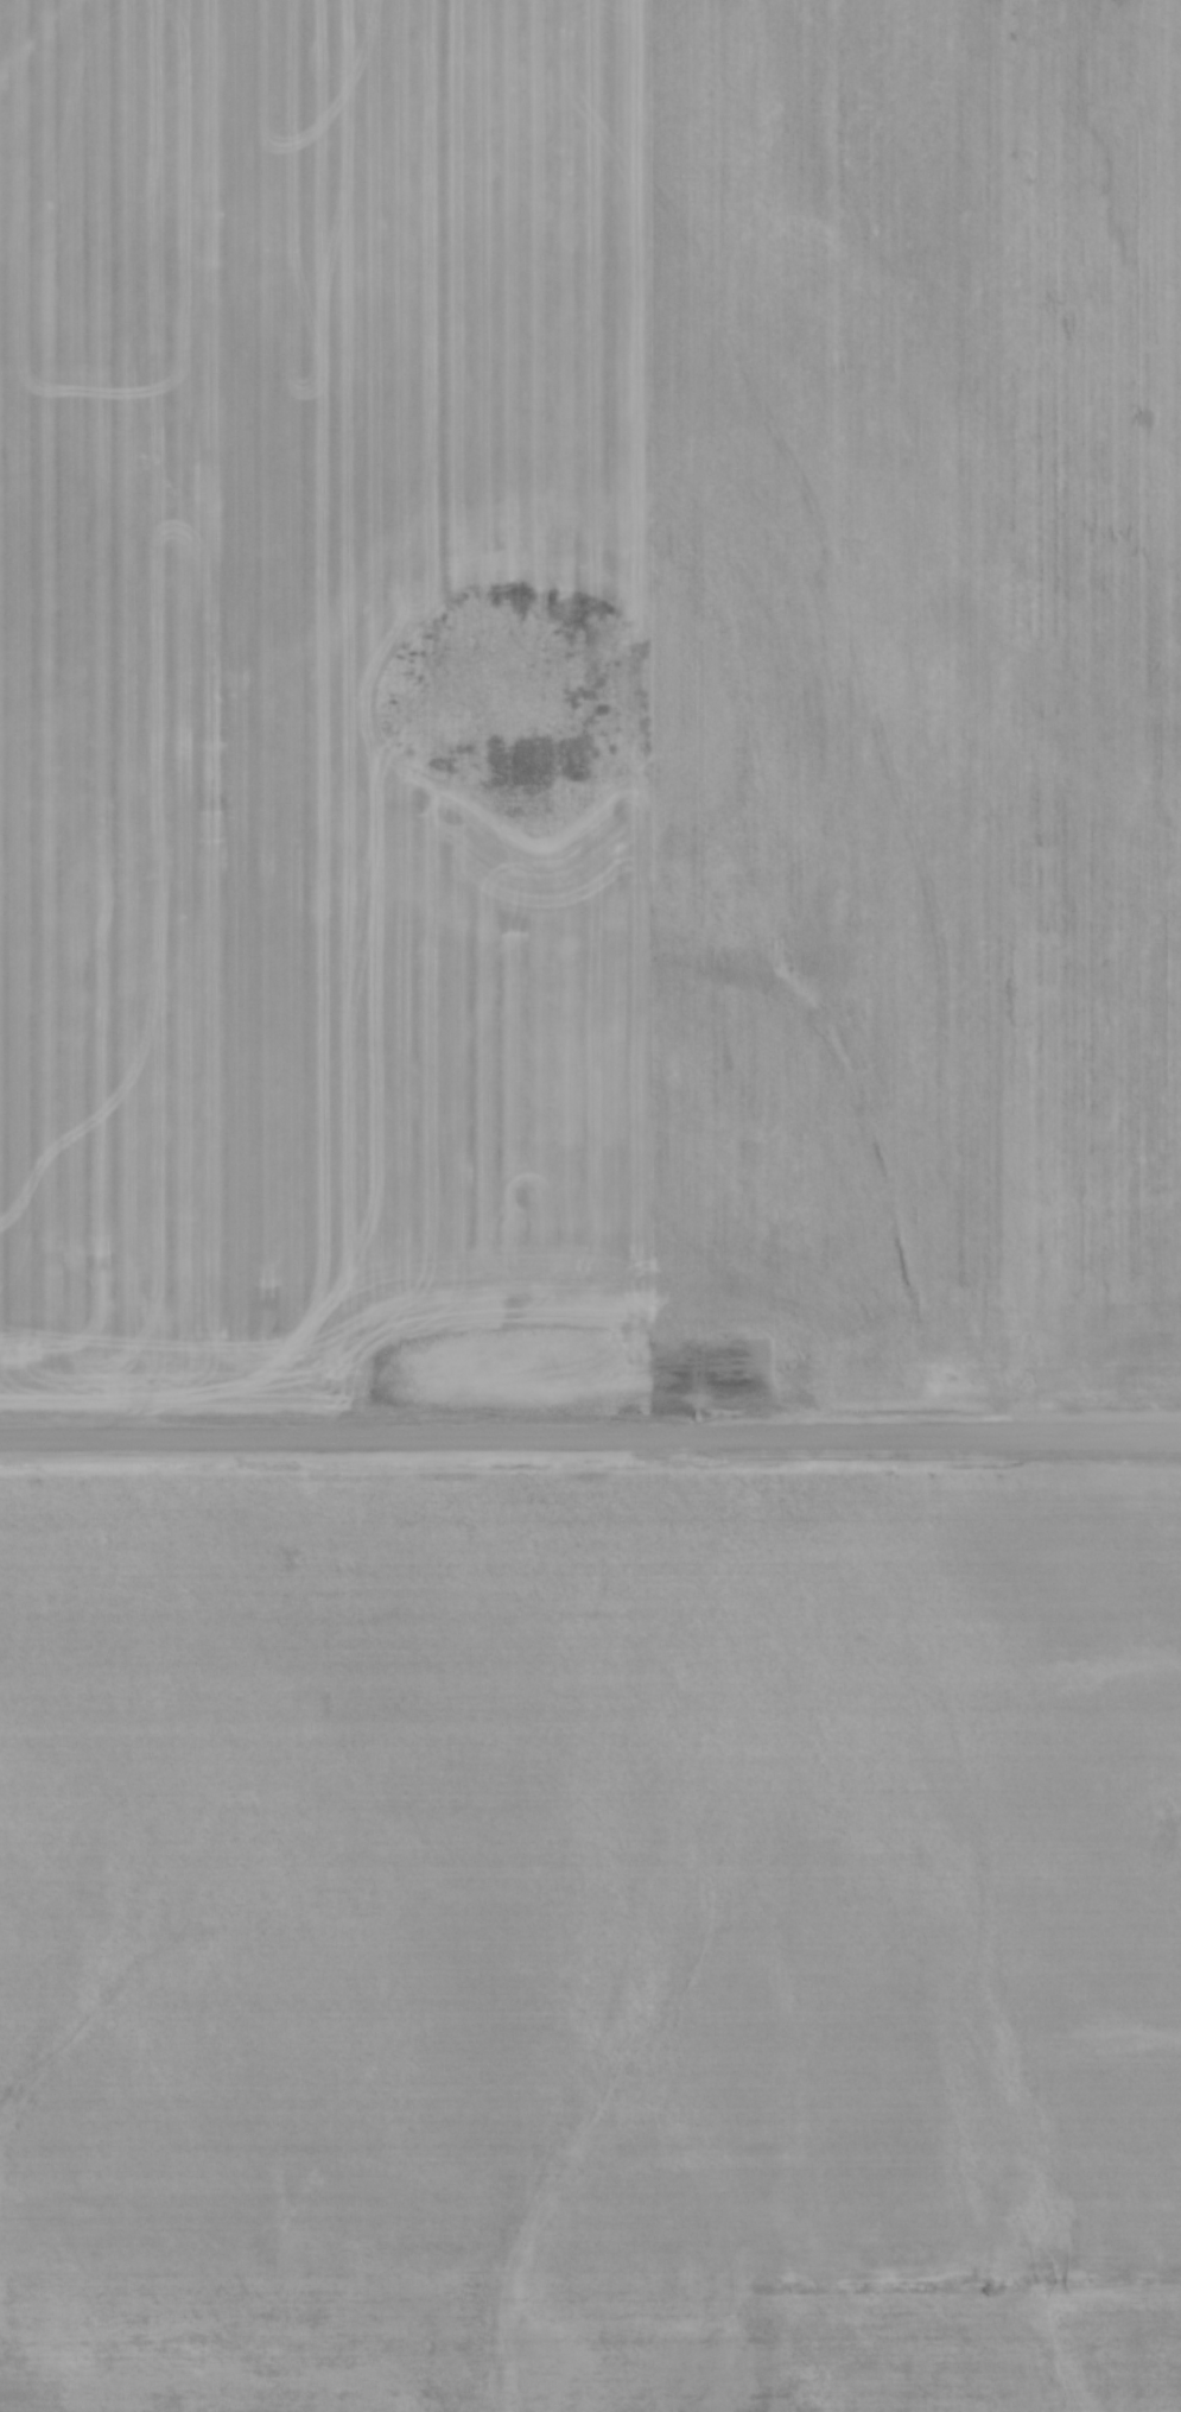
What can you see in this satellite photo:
road: (590, 1435)

